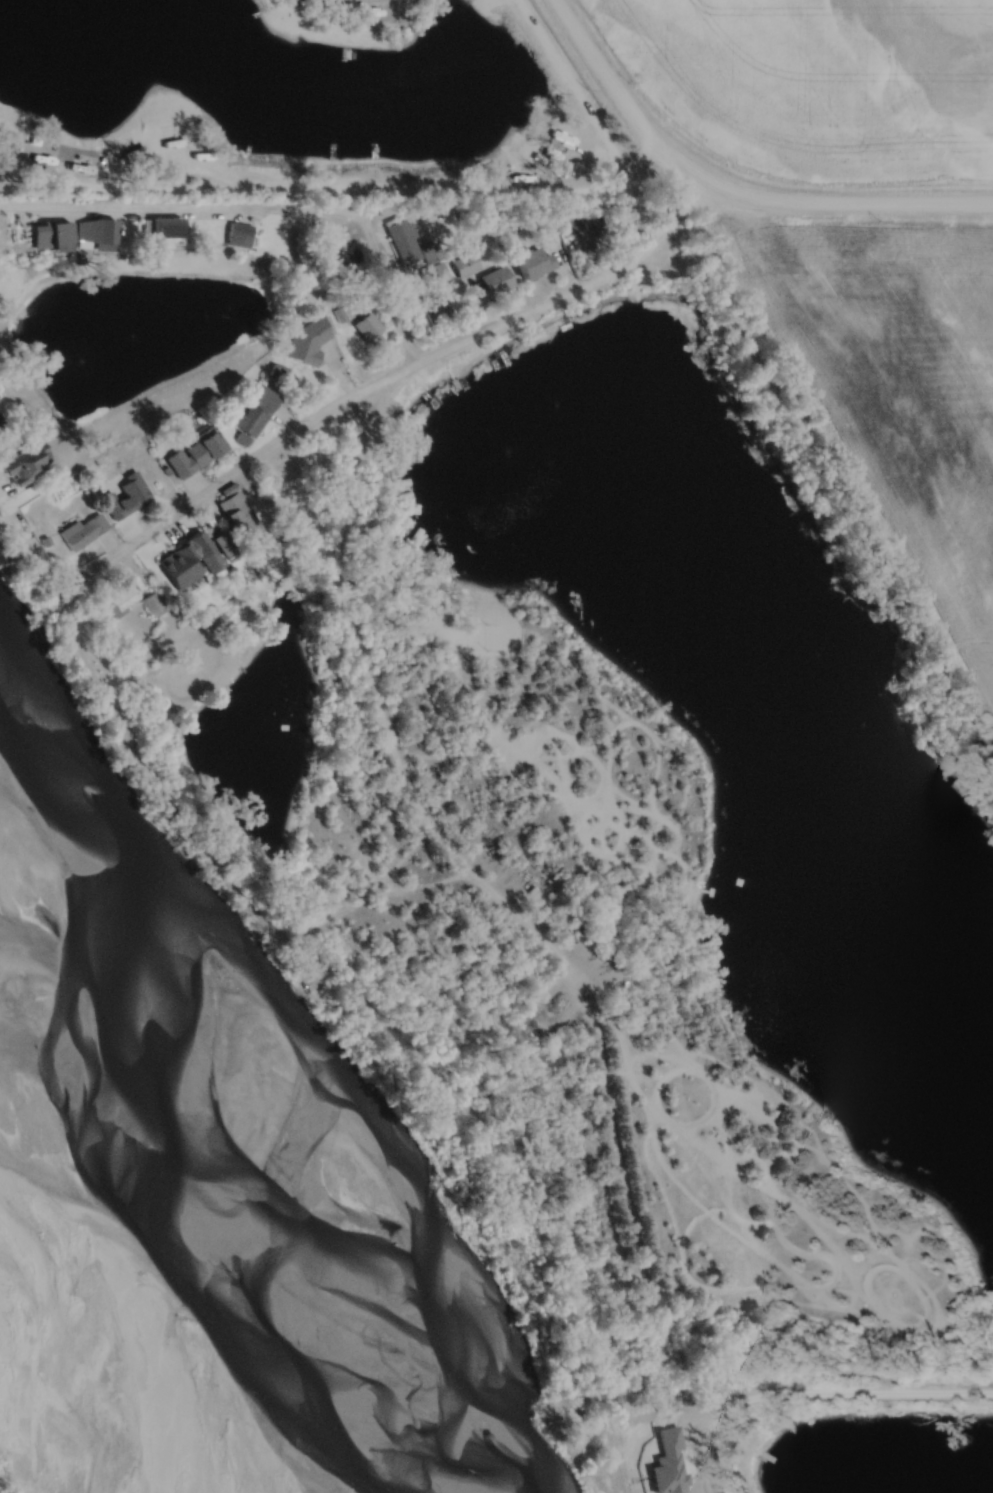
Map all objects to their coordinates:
road: (624, 112)
building: (173, 144)
road: (668, 185)
road: (412, 189)
road: (859, 203)
road: (515, 206)
road: (180, 209)
building: (166, 229)
building: (96, 230)
building: (50, 234)
building: (239, 236)
building: (403, 237)
building: (432, 253)
building: (533, 263)
building: (467, 265)
building: (437, 275)
building: (496, 282)
road: (390, 286)
building: (436, 305)
building: (345, 314)
building: (370, 327)
building: (309, 340)
building: (255, 412)
road: (327, 415)
building: (195, 455)
building: (410, 457)
building: (23, 463)
building: (131, 497)
building: (236, 512)
building: (85, 531)
building: (190, 564)
building: (152, 600)
building: (123, 603)
road: (466, 869)
river: (161, 1207)
road: (840, 1396)
road: (691, 1458)

